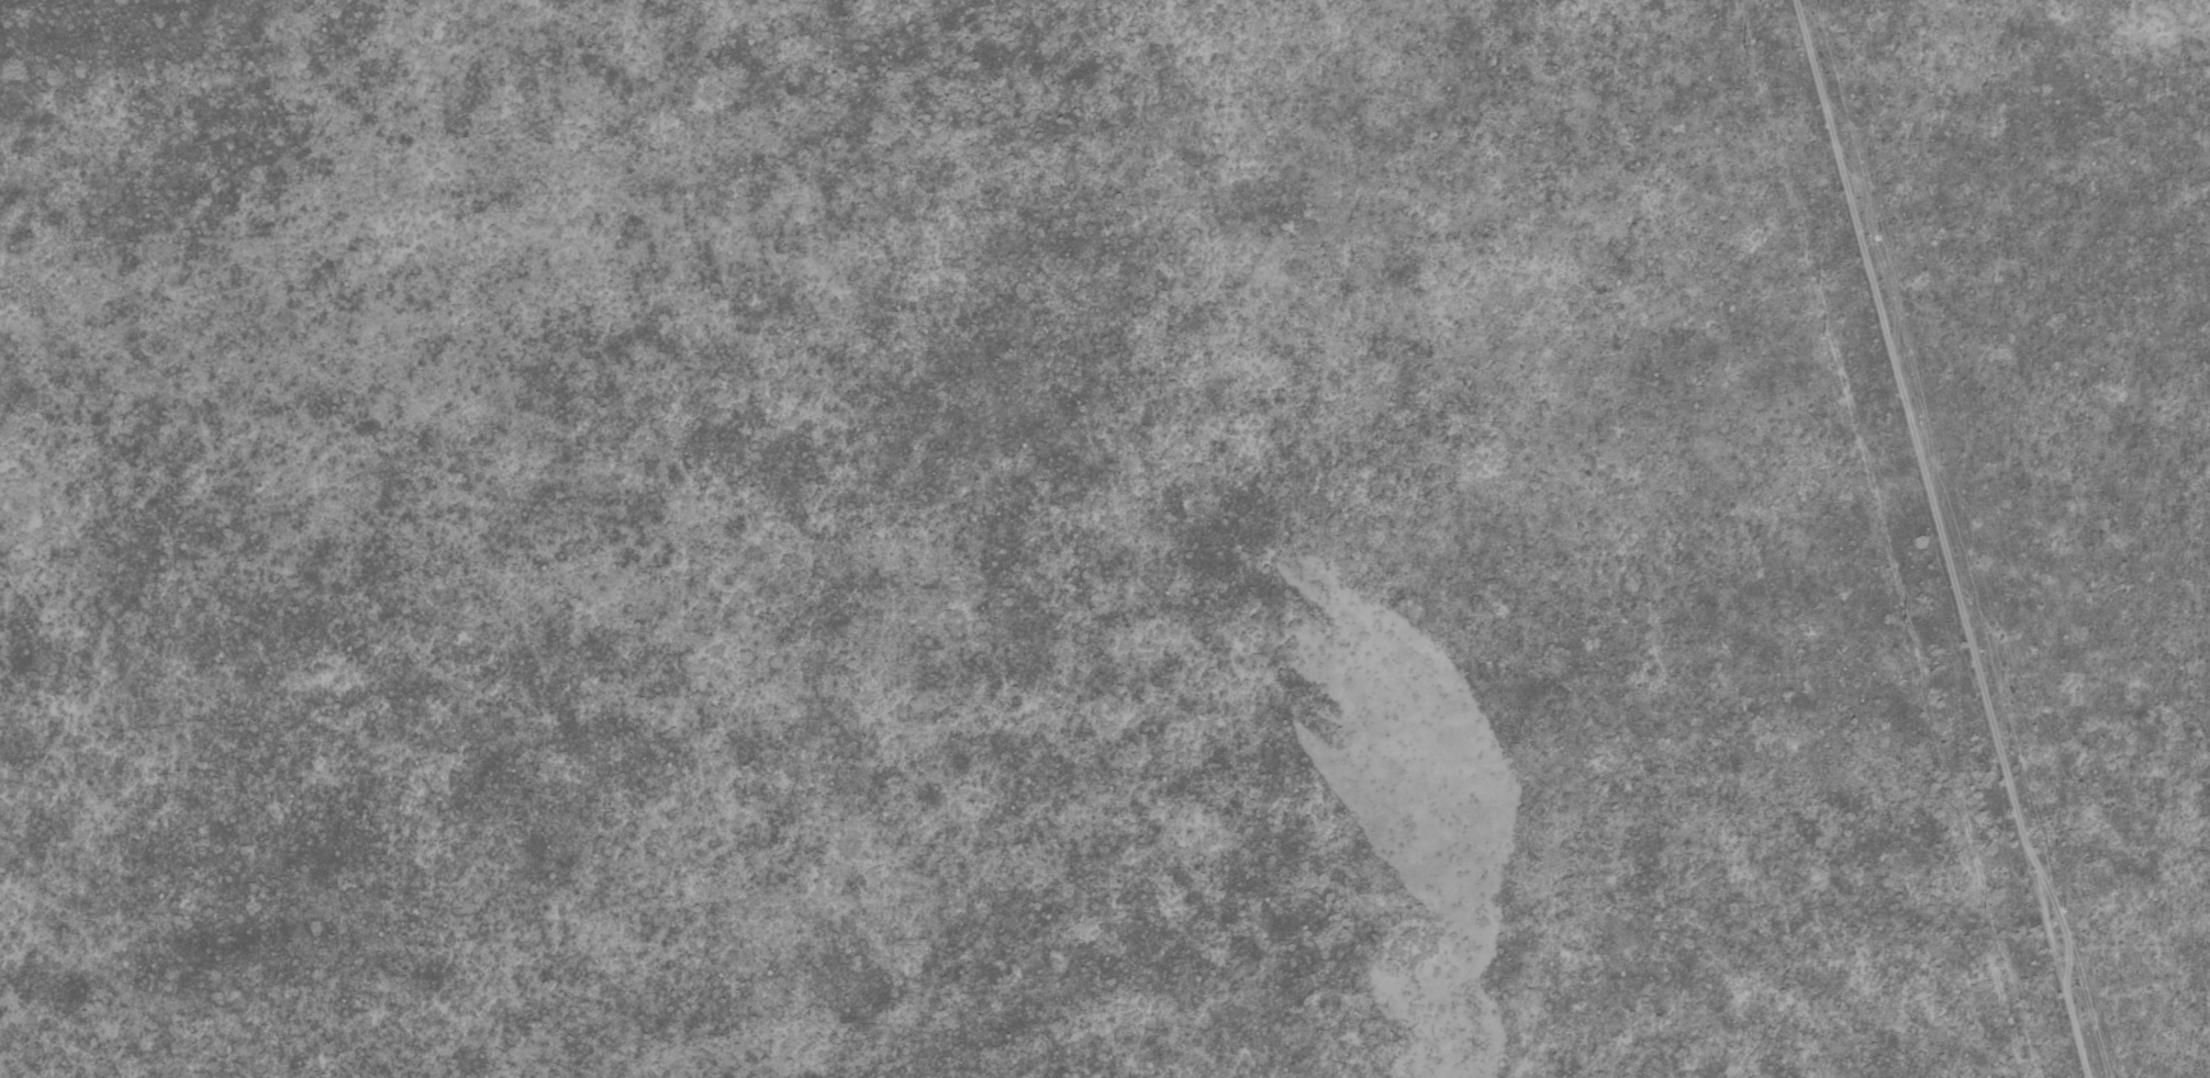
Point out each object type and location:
power tower: (1744, 48)
power tower: (1820, 337)
power tower: (1900, 625)
power tower: (1979, 913)

